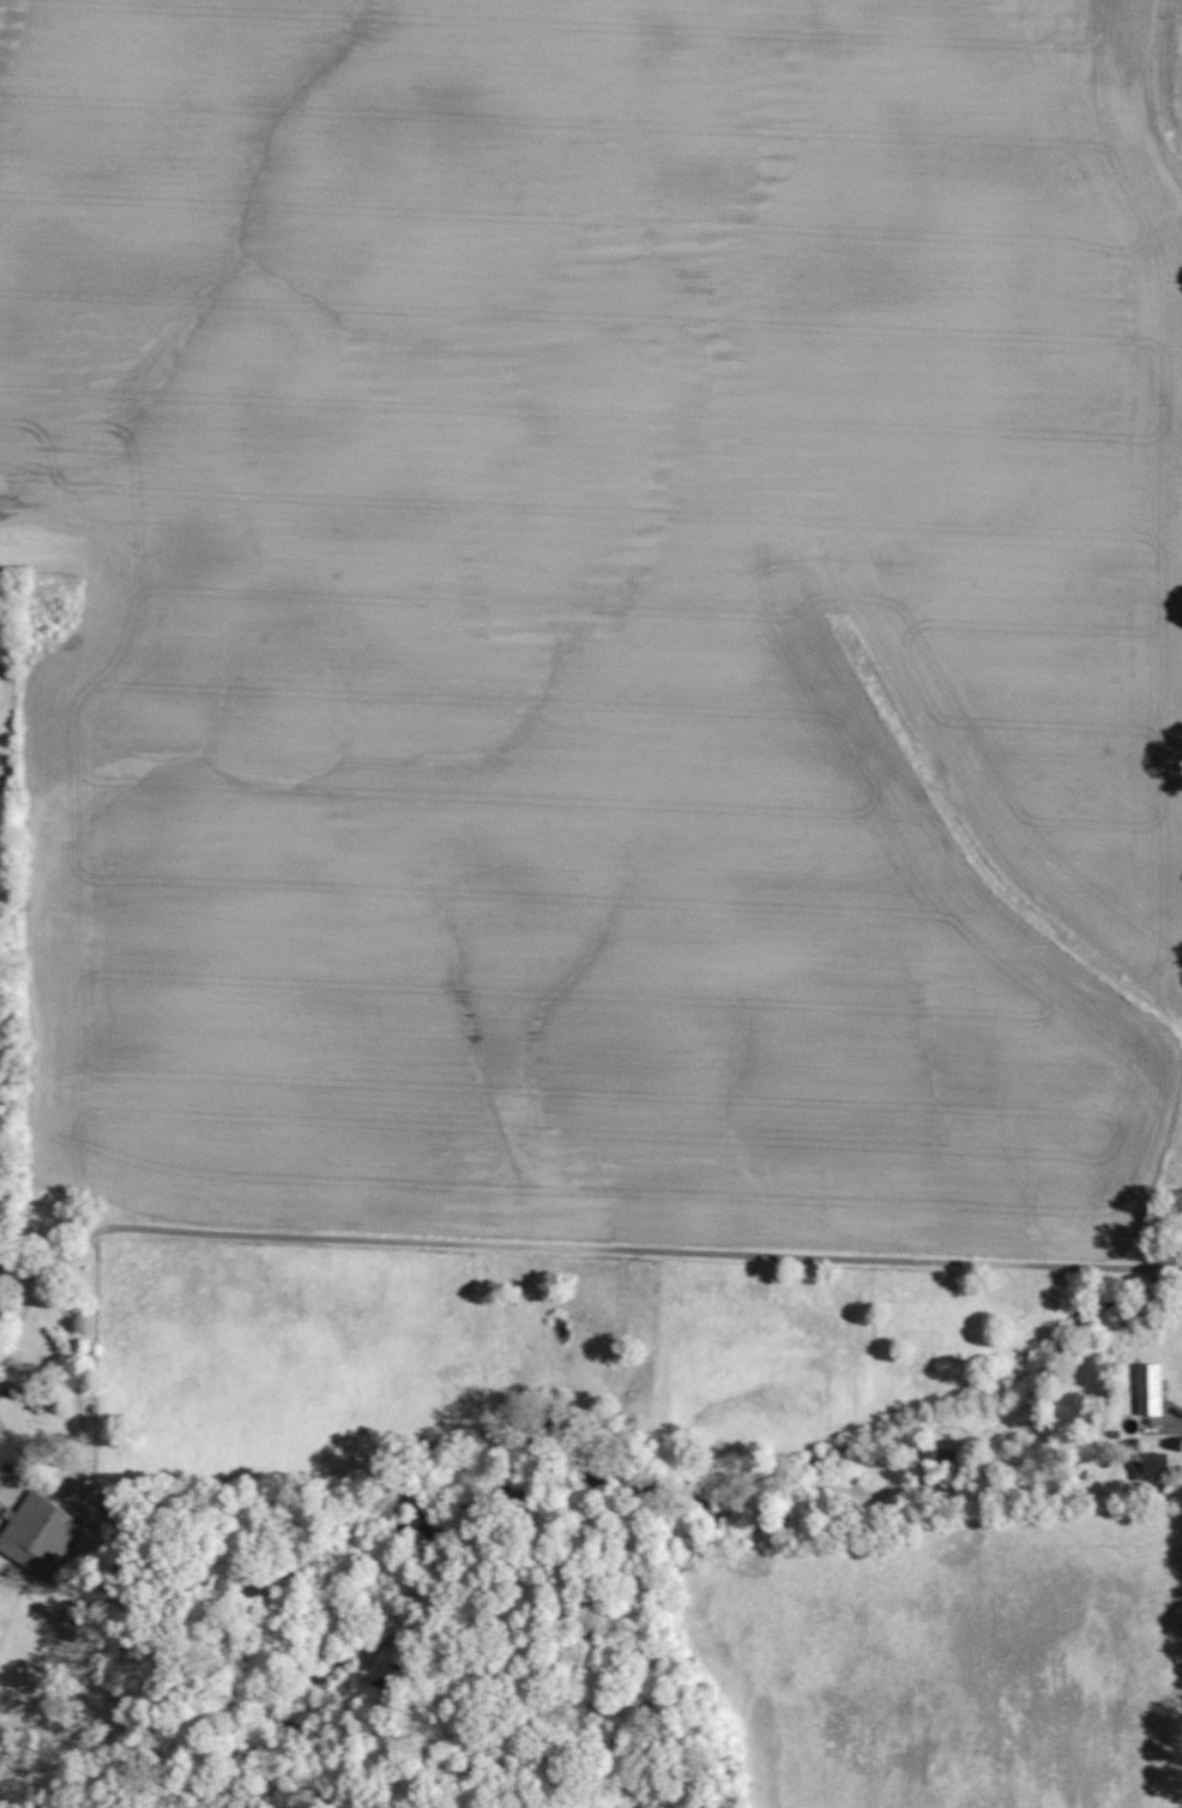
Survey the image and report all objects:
road: (514, 1244)
building: (1147, 1388)
building: (1147, 1464)
building: (37, 1534)

